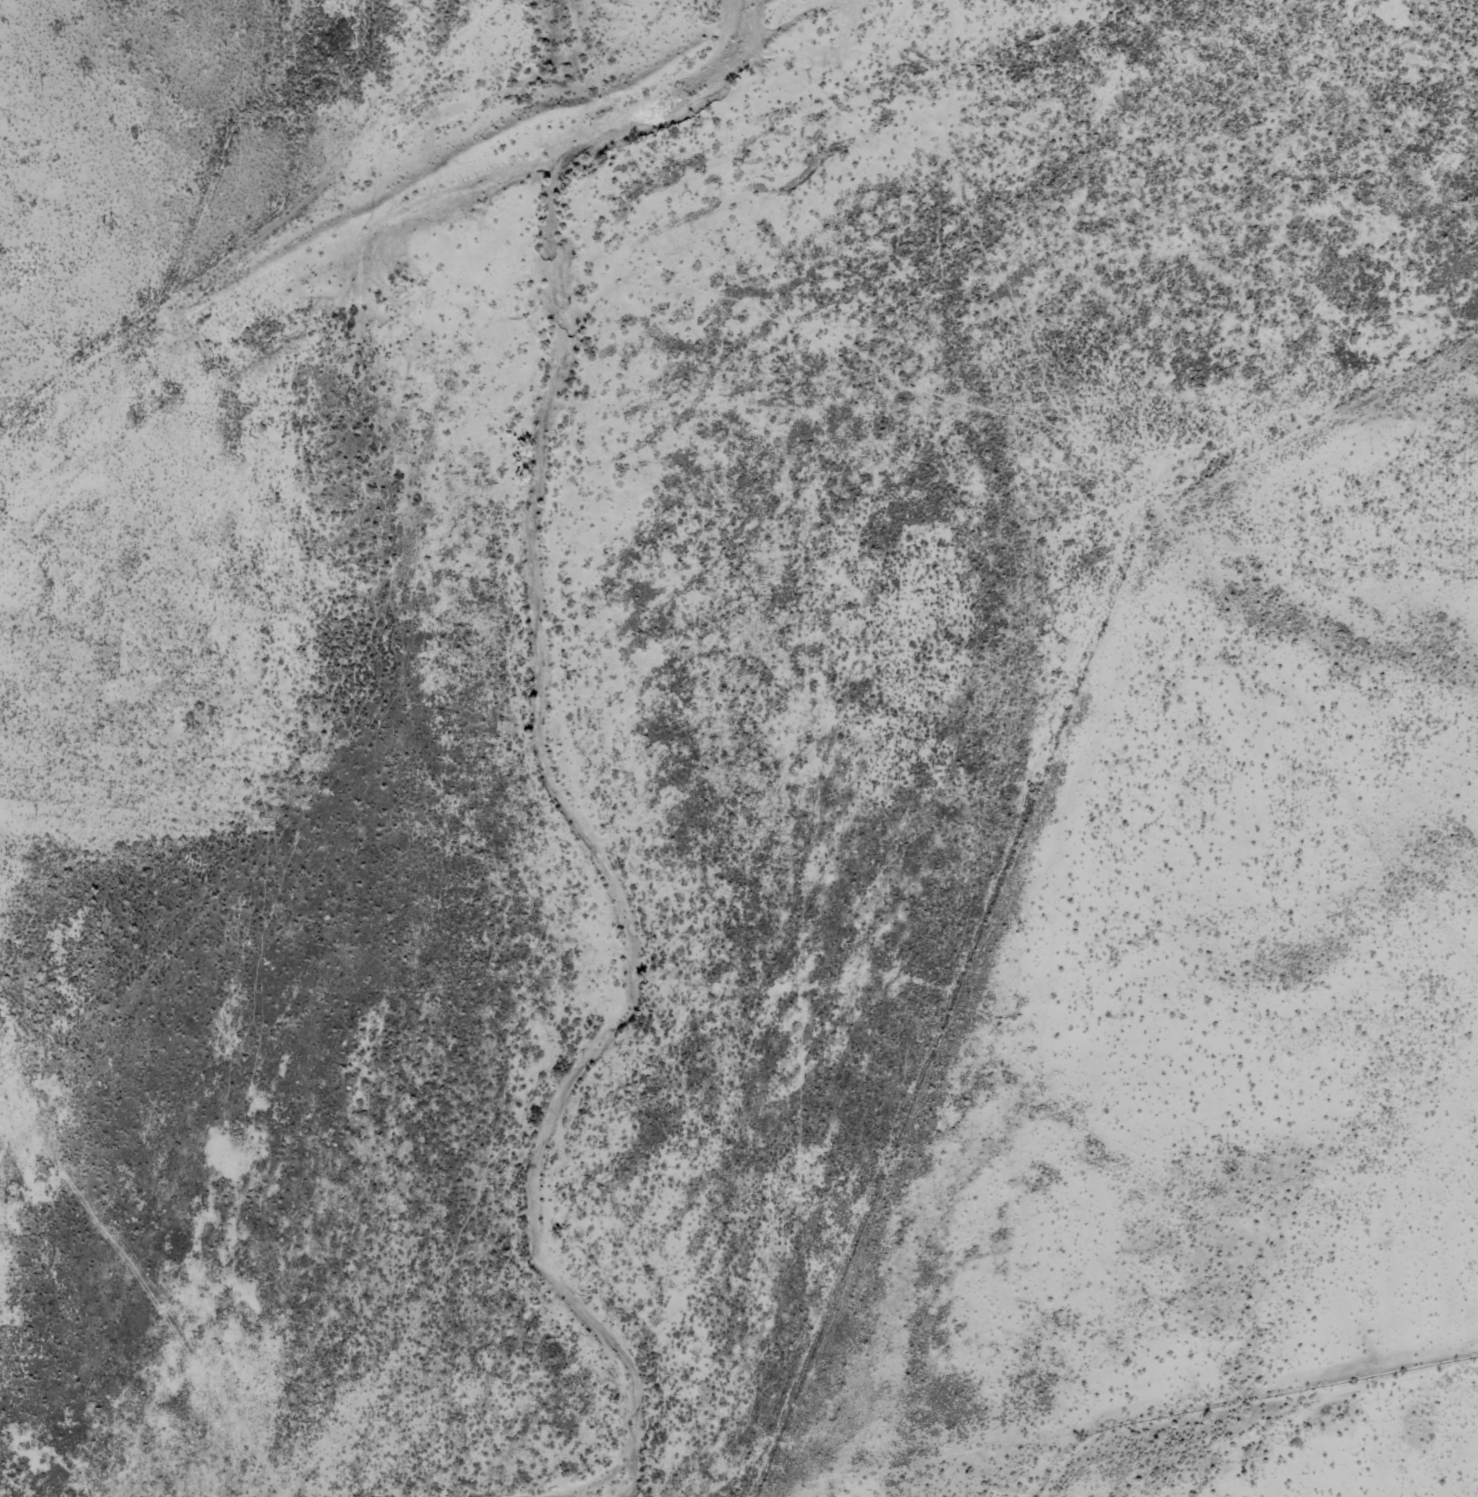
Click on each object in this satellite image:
road: (264, 264)

